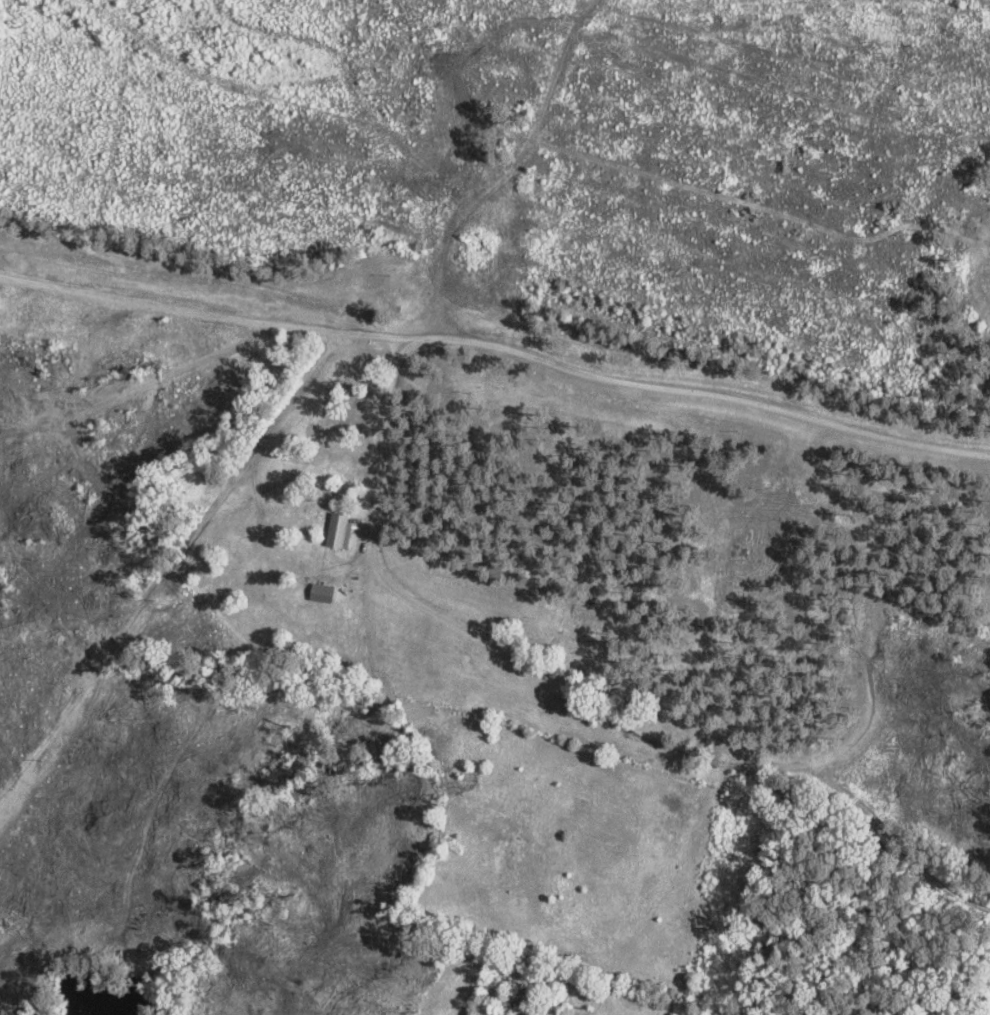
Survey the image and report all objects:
road: (498, 343)
road: (377, 445)
building: (341, 530)
building: (323, 592)

